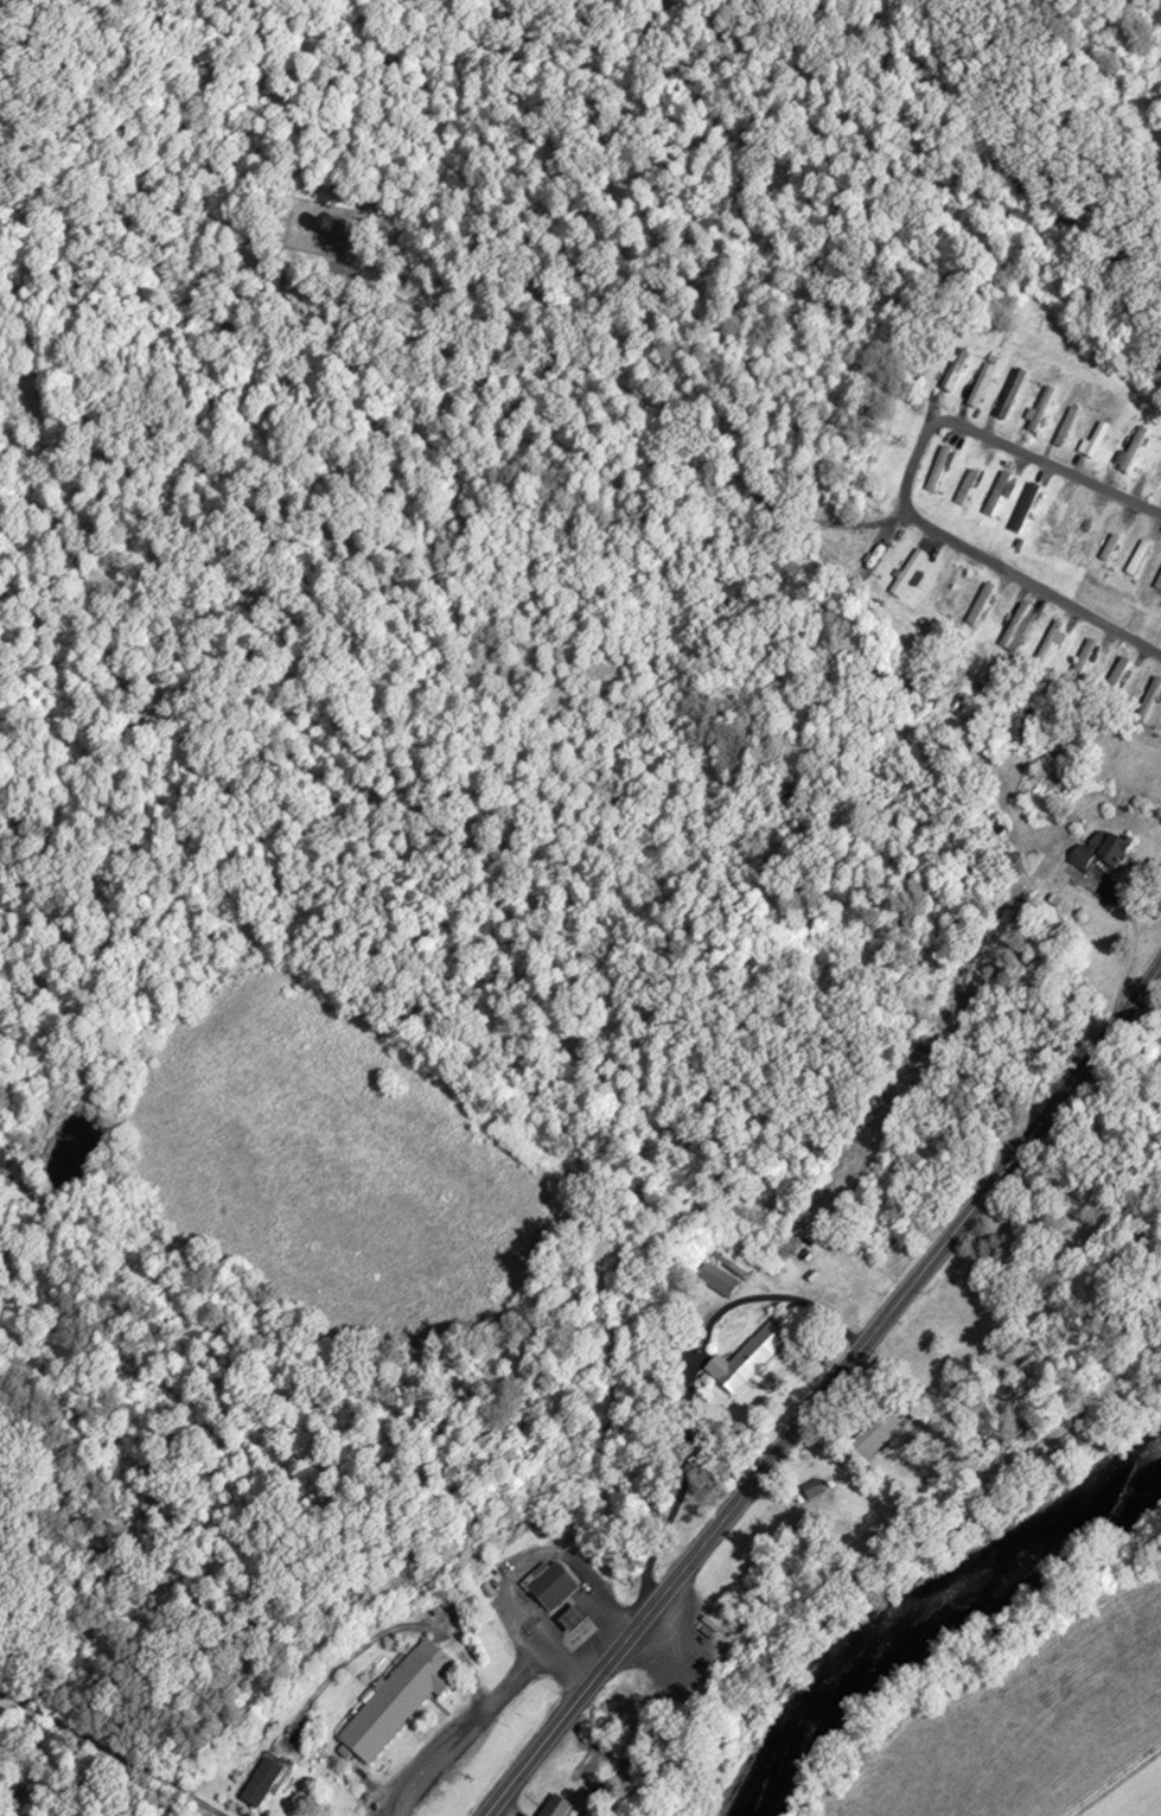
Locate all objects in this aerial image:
building: (957, 374)
building: (984, 388)
building: (1013, 397)
building: (1042, 412)
building: (1068, 429)
building: (1096, 445)
building: (1133, 453)
building: (940, 472)
building: (1156, 478)
road: (907, 486)
building: (969, 490)
building: (999, 496)
building: (1027, 509)
building: (1053, 525)
building: (1111, 549)
building: (1140, 561)
building: (870, 566)
building: (911, 576)
building: (1159, 587)
building: (948, 591)
building: (982, 606)
building: (1018, 629)
building: (1051, 645)
building: (1084, 662)
building: (1116, 682)
building: (1150, 703)
building: (927, 705)
building: (1101, 854)
road: (585, 1232)
building: (719, 1283)
building: (747, 1363)
road: (830, 1396)
building: (875, 1444)
building: (815, 1495)
building: (551, 1589)
river: (934, 1617)
road: (489, 1699)
building: (400, 1703)
building: (263, 1783)
crop: (1128, 1791)
building: (559, 1808)

